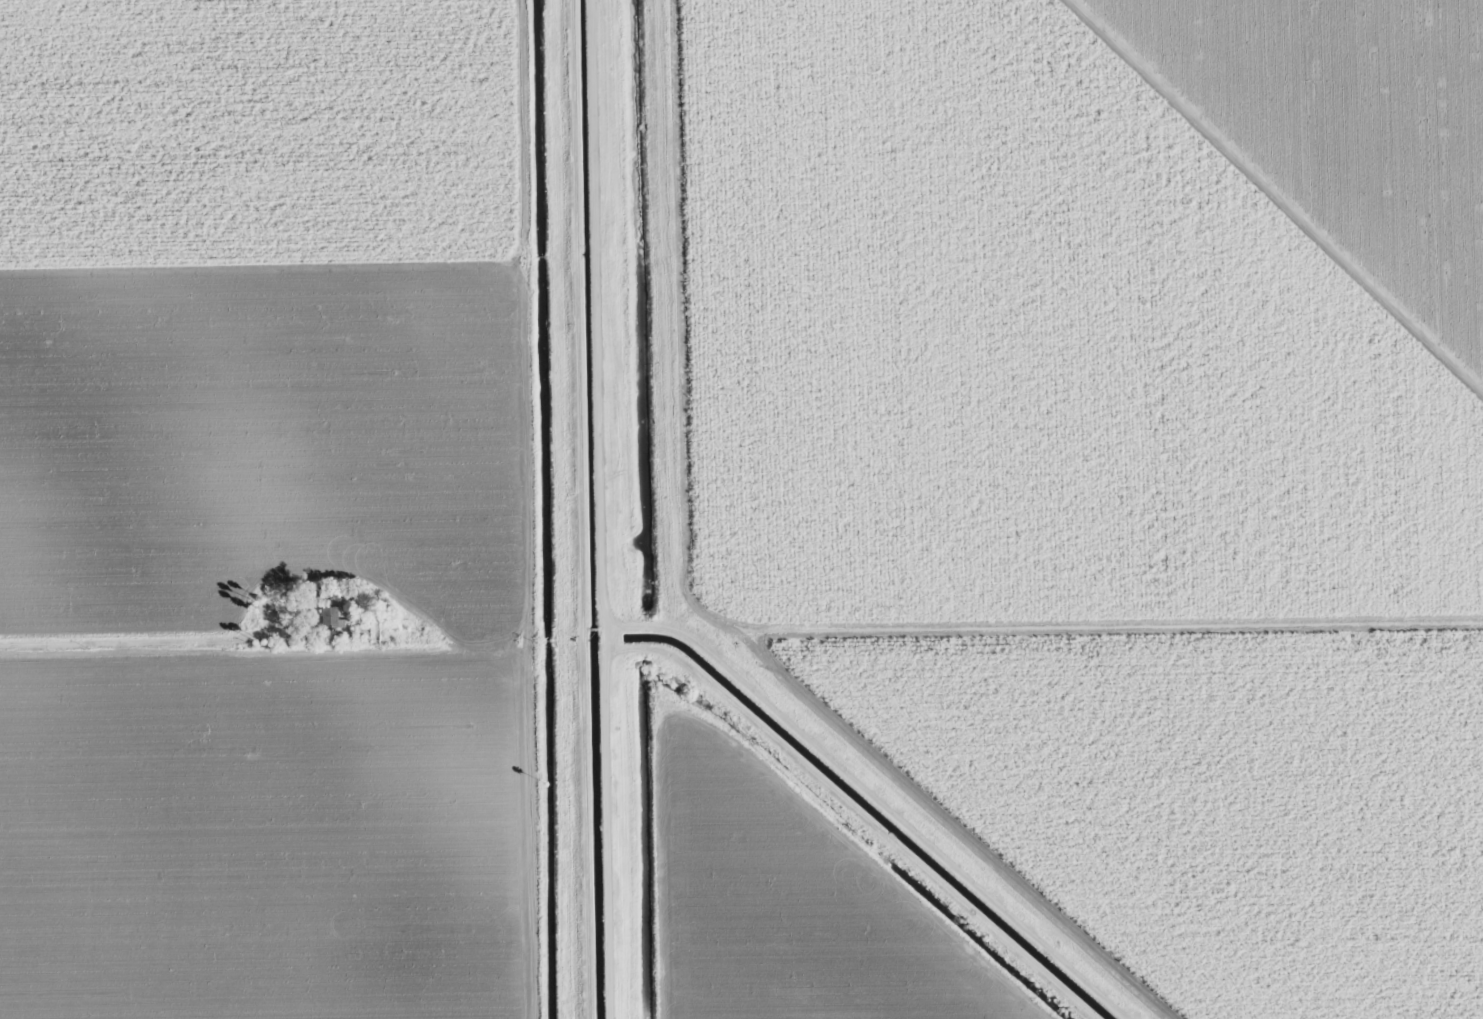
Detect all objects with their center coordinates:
building: (330, 616)
road: (155, 622)

